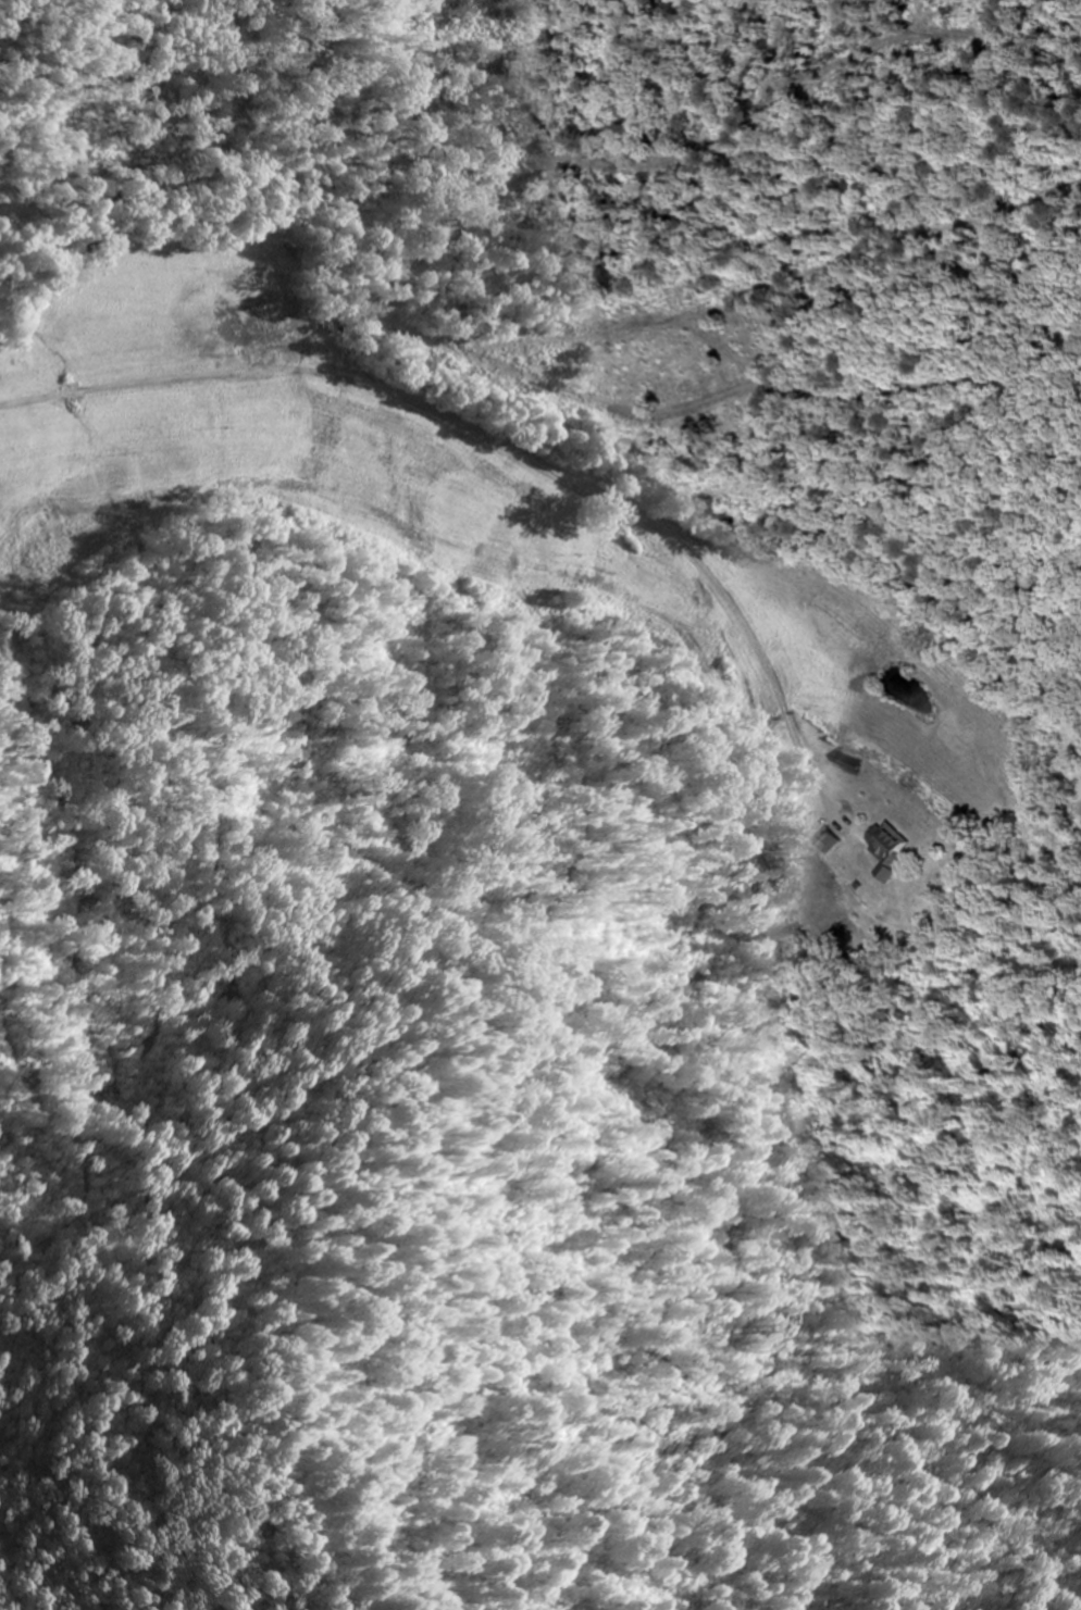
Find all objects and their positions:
building: (858, 769)
building: (825, 843)
building: (889, 852)

